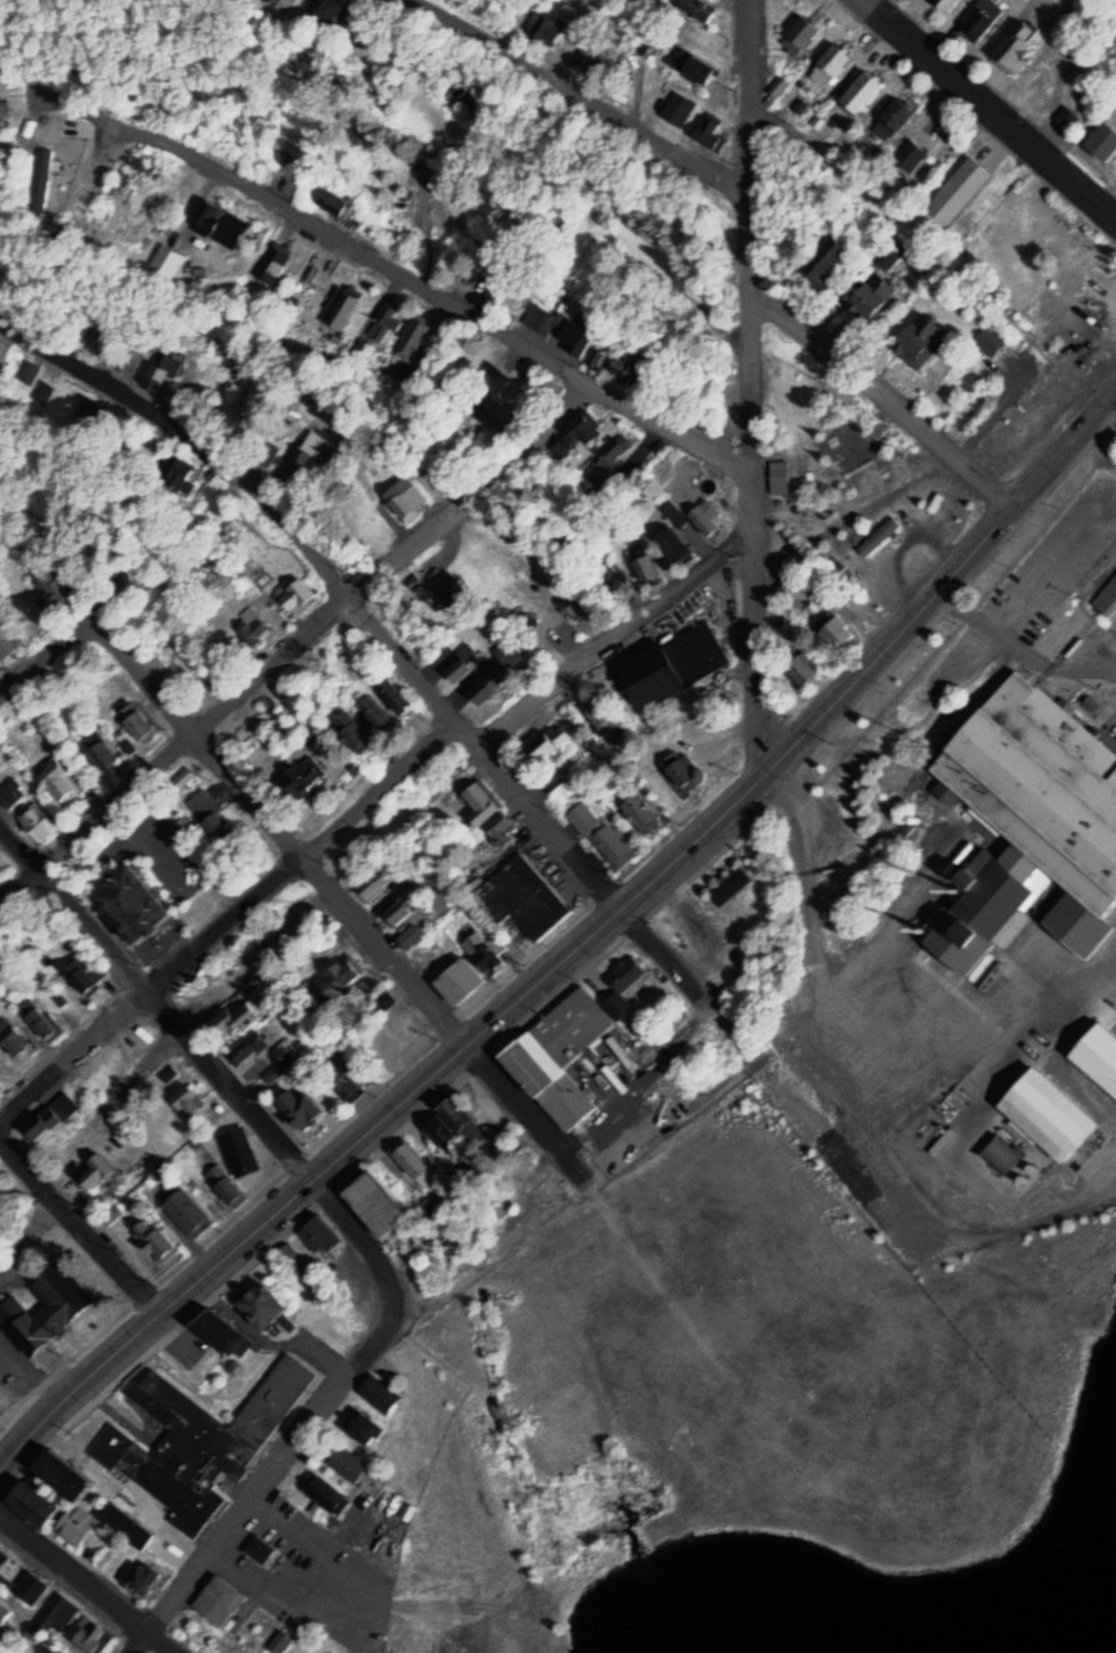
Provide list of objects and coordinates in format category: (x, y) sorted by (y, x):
building: (286, 2)
building: (947, 3)
building: (699, 8)
building: (324, 10)
building: (981, 18)
building: (545, 27)
building: (800, 35)
road: (748, 39)
building: (1020, 44)
building: (830, 60)
building: (697, 66)
building: (861, 90)
road: (600, 92)
building: (678, 106)
road: (998, 106)
building: (4, 111)
building: (890, 117)
building: (707, 127)
building: (31, 130)
road: (750, 134)
building: (1105, 143)
building: (909, 154)
building: (42, 179)
building: (958, 189)
building: (332, 201)
building: (225, 223)
road: (908, 223)
building: (887, 253)
building: (163, 258)
building: (821, 258)
building: (271, 266)
road: (431, 279)
building: (868, 296)
building: (341, 307)
building: (539, 318)
building: (385, 322)
building: (416, 337)
building: (916, 341)
building: (992, 341)
building: (578, 343)
building: (356, 346)
building: (619, 369)
building: (162, 372)
building: (35, 373)
building: (496, 380)
road: (1085, 387)
road: (883, 389)
building: (50, 391)
building: (92, 410)
building: (490, 418)
building: (573, 435)
building: (607, 450)
building: (267, 452)
building: (302, 456)
building: (182, 474)
building: (782, 475)
road: (754, 479)
building: (589, 483)
road: (1029, 486)
building: (405, 495)
building: (704, 523)
building: (880, 537)
building: (674, 543)
building: (643, 566)
road: (339, 576)
building: (45, 591)
building: (298, 594)
building: (257, 628)
building: (837, 632)
road: (299, 640)
building: (7, 641)
road: (38, 660)
building: (175, 663)
building: (670, 664)
building: (461, 667)
building: (802, 668)
road: (858, 675)
building: (483, 689)
building: (391, 697)
building: (371, 716)
building: (601, 717)
building: (251, 722)
building: (139, 725)
building: (348, 732)
building: (549, 742)
building: (100, 754)
building: (684, 771)
building: (301, 774)
building: (555, 780)
building: (179, 782)
building: (60, 784)
building: (12, 792)
road: (359, 803)
building: (479, 804)
building: (1042, 812)
building: (641, 813)
road: (279, 822)
building: (499, 822)
building: (35, 823)
building: (209, 830)
building: (603, 834)
building: (733, 883)
building: (527, 899)
building: (132, 905)
building: (402, 906)
road: (817, 914)
building: (410, 935)
building: (485, 953)
building: (86, 972)
building: (629, 973)
building: (340, 975)
road: (691, 978)
building: (463, 980)
road: (157, 994)
building: (63, 998)
building: (383, 999)
building: (618, 1004)
building: (231, 1019)
building: (40, 1021)
building: (569, 1029)
building: (13, 1040)
building: (249, 1046)
building: (1099, 1051)
building: (526, 1068)
building: (280, 1069)
building: (170, 1072)
building: (343, 1079)
building: (188, 1100)
building: (569, 1103)
building: (299, 1107)
road: (527, 1111)
building: (51, 1115)
building: (1051, 1115)
road: (384, 1116)
building: (455, 1117)
building: (438, 1134)
building: (240, 1149)
building: (1004, 1153)
building: (412, 1161)
building: (99, 1170)
building: (226, 1184)
building: (379, 1203)
building: (192, 1214)
road: (81, 1219)
building: (322, 1235)
building: (154, 1238)
road: (375, 1250)
building: (296, 1259)
building: (259, 1303)
building: (48, 1306)
building: (217, 1332)
building: (384, 1394)
building: (364, 1426)
building: (205, 1436)
building: (352, 1465)
building: (70, 1476)
road: (257, 1493)
building: (330, 1495)
building: (32, 1503)
building: (77, 1527)
building: (130, 1527)
building: (265, 1550)
building: (3, 1558)
building: (142, 1578)
road: (92, 1579)
building: (33, 1588)
building: (223, 1601)
building: (62, 1609)
building: (4, 1613)
building: (94, 1635)
road: (415, 1639)
building: (286, 1640)
building: (60, 1651)

